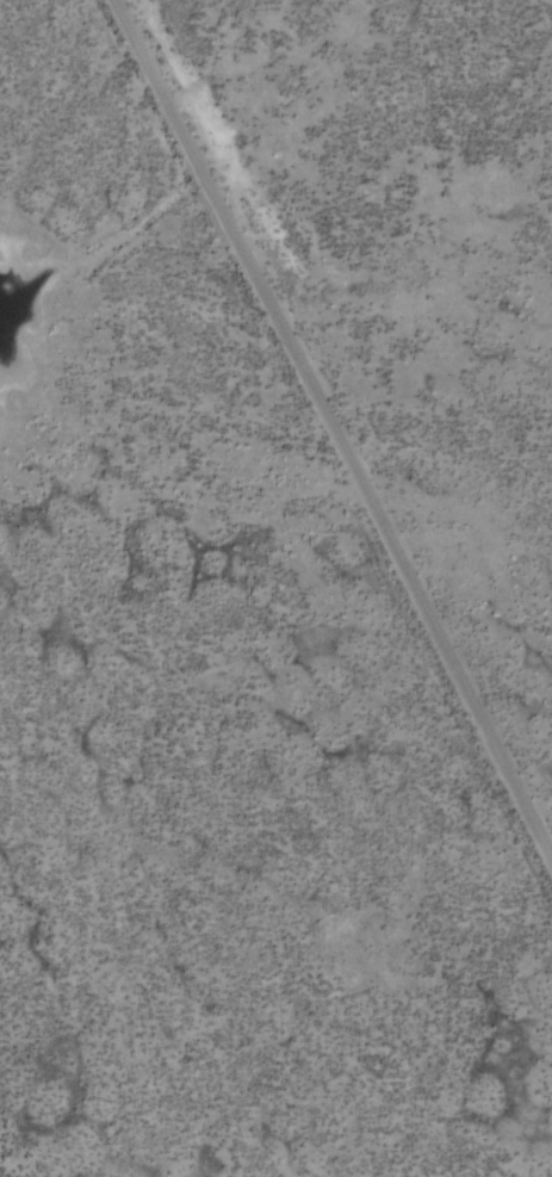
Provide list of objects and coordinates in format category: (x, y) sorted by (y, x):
road: (334, 427)

